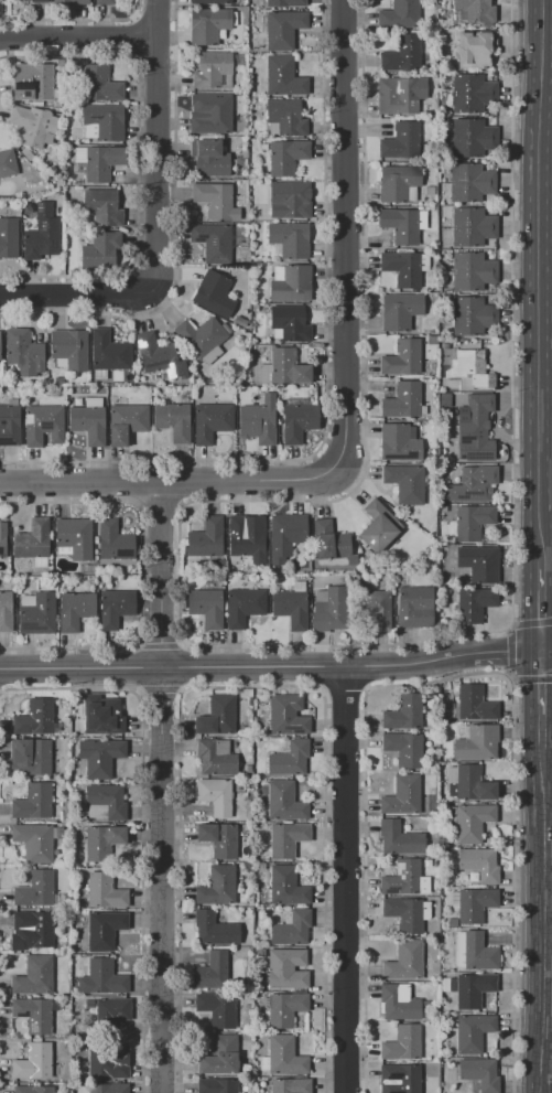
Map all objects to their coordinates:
building: (31, 0)
building: (2, 2)
building: (71, 2)
building: (105, 2)
building: (210, 2)
building: (286, 3)
building: (472, 10)
building: (400, 14)
building: (207, 25)
building: (282, 28)
road: (82, 39)
building: (475, 49)
building: (402, 54)
building: (212, 71)
building: (284, 77)
road: (548, 79)
building: (32, 83)
building: (100, 84)
building: (472, 94)
building: (398, 96)
building: (214, 115)
building: (286, 117)
building: (101, 122)
building: (33, 125)
building: (472, 138)
building: (401, 141)
road: (162, 154)
building: (285, 157)
building: (209, 158)
building: (101, 162)
building: (7, 163)
building: (398, 181)
building: (469, 182)
building: (290, 199)
building: (216, 200)
building: (101, 207)
building: (401, 225)
building: (473, 226)
road: (345, 236)
building: (9, 237)
building: (42, 238)
building: (290, 238)
building: (214, 242)
building: (100, 251)
building: (402, 268)
building: (473, 271)
road: (543, 280)
building: (292, 285)
building: (213, 294)
road: (68, 301)
building: (400, 311)
building: (472, 317)
building: (289, 322)
building: (201, 335)
building: (69, 349)
building: (0, 351)
building: (24, 351)
building: (109, 352)
building: (160, 356)
building: (402, 357)
building: (288, 367)
building: (472, 369)
building: (403, 400)
building: (93, 401)
building: (297, 419)
building: (212, 420)
building: (258, 420)
building: (172, 421)
building: (126, 422)
building: (87, 424)
building: (10, 425)
building: (43, 425)
building: (476, 428)
building: (399, 443)
road: (166, 480)
building: (405, 483)
building: (472, 484)
building: (472, 521)
building: (379, 526)
building: (285, 535)
building: (75, 536)
building: (206, 538)
building: (243, 538)
building: (2, 539)
building: (32, 539)
building: (113, 542)
building: (332, 542)
building: (479, 564)
building: (374, 602)
building: (474, 603)
building: (414, 606)
road: (543, 606)
building: (116, 607)
building: (206, 607)
building: (243, 607)
building: (290, 608)
building: (329, 609)
building: (6, 610)
building: (75, 610)
building: (39, 615)
road: (548, 650)
traffic signals: (543, 651)
road: (509, 652)
road: (238, 665)
road: (543, 699)
building: (474, 704)
building: (405, 712)
building: (288, 715)
building: (216, 716)
building: (100, 717)
building: (34, 718)
building: (476, 743)
building: (403, 749)
building: (100, 756)
building: (30, 757)
building: (215, 757)
building: (289, 759)
building: (469, 783)
road: (164, 786)
building: (216, 795)
building: (402, 796)
building: (33, 801)
building: (284, 801)
building: (106, 802)
building: (470, 821)
building: (400, 838)
building: (219, 839)
building: (288, 839)
building: (34, 842)
building: (102, 842)
building: (479, 862)
road: (344, 878)
building: (402, 878)
building: (217, 886)
building: (286, 886)
building: (35, 889)
building: (105, 891)
building: (475, 903)
building: (404, 914)
road: (542, 920)
building: (291, 928)
building: (105, 930)
building: (214, 930)
building: (32, 931)
building: (478, 952)
building: (404, 961)
building: (286, 968)
building: (213, 972)
building: (34, 975)
building: (101, 978)
building: (473, 989)
building: (399, 1003)
building: (112, 1008)
building: (217, 1008)
building: (285, 1008)
building: (33, 1014)
building: (473, 1031)
building: (402, 1042)
building: (285, 1056)
building: (220, 1057)
building: (33, 1061)
building: (108, 1069)
building: (480, 1073)
building: (400, 1078)
building: (216, 1085)
building: (290, 1085)
building: (470, 1085)
building: (33, 1089)
building: (108, 1089)

